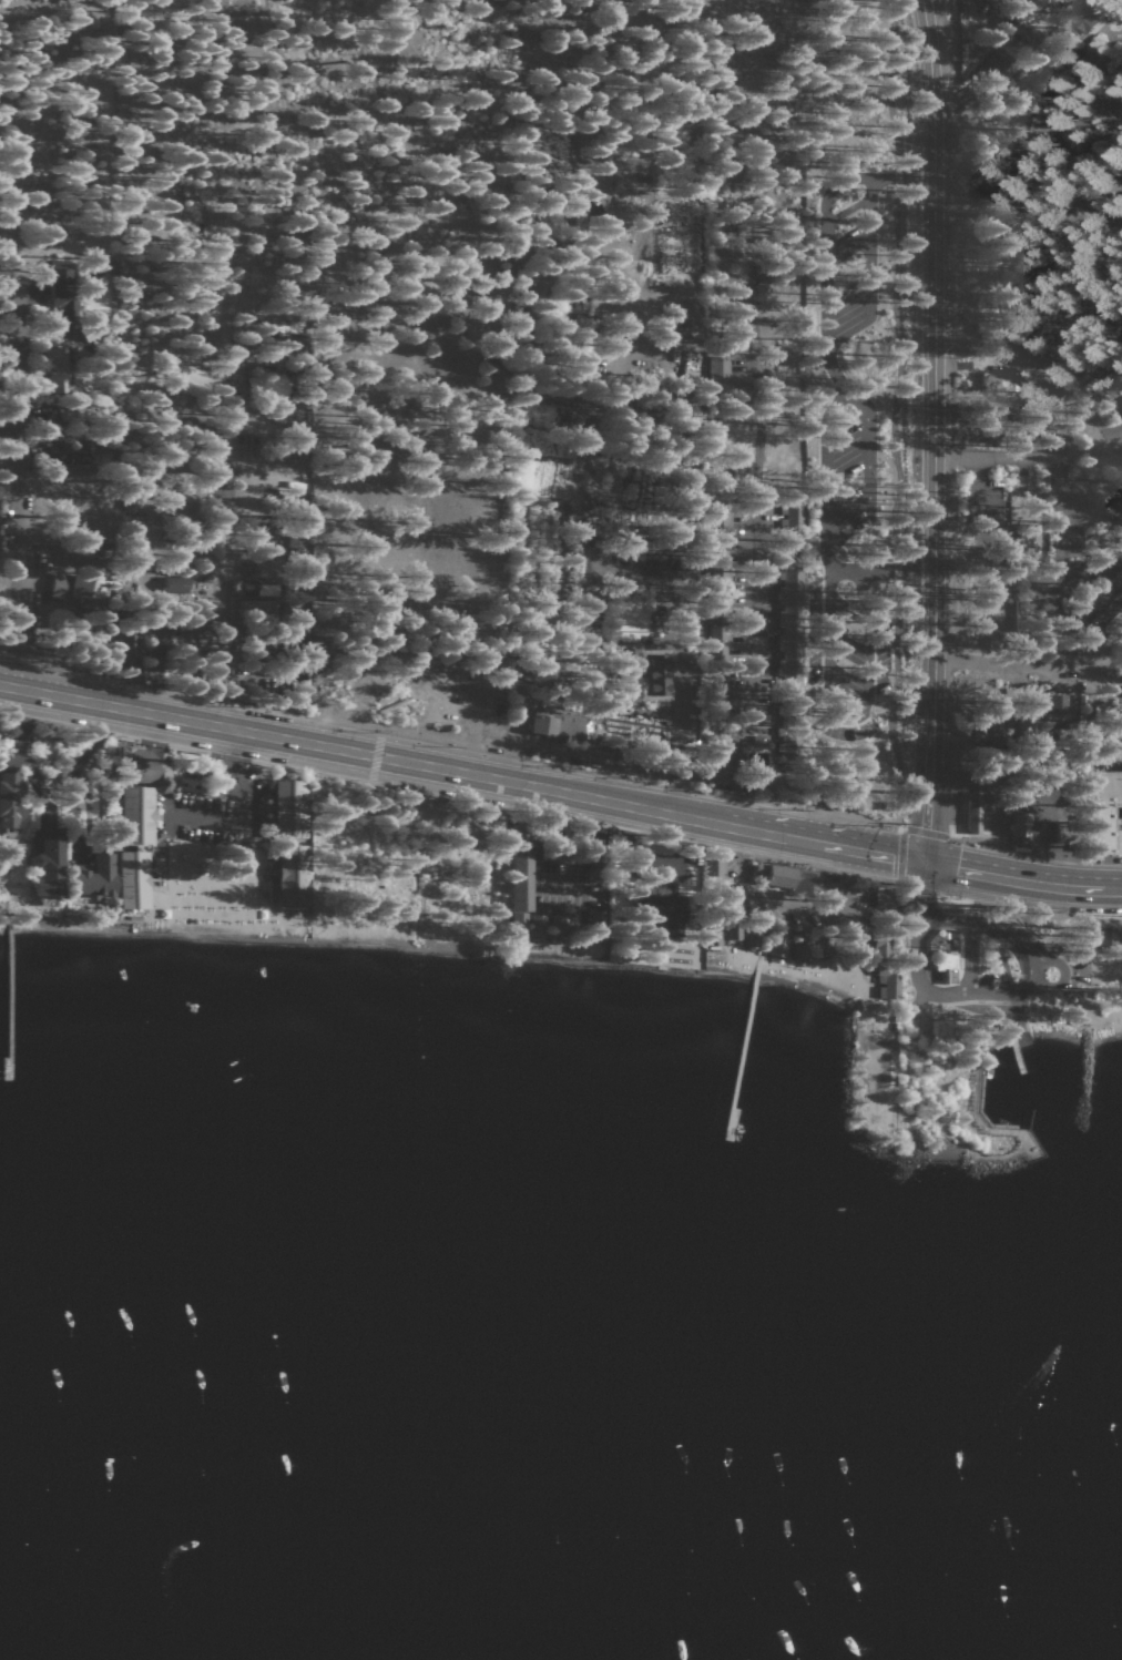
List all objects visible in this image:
building: (1096, 14)
building: (996, 69)
road: (104, 139)
road: (1032, 167)
building: (991, 176)
road: (870, 247)
building: (1, 294)
building: (69, 303)
road: (827, 334)
building: (62, 373)
building: (720, 373)
building: (998, 381)
building: (269, 388)
road: (886, 416)
building: (293, 422)
road: (928, 431)
road: (868, 448)
building: (81, 456)
road: (993, 457)
road: (10, 487)
building: (0, 500)
road: (982, 501)
road: (1079, 501)
road: (1054, 503)
building: (793, 515)
building: (722, 536)
building: (1027, 536)
building: (1112, 559)
building: (267, 570)
road: (881, 571)
building: (175, 584)
building: (81, 589)
building: (1099, 602)
building: (790, 623)
road: (1027, 662)
road: (752, 669)
building: (659, 672)
building: (630, 675)
building: (1057, 704)
road: (850, 715)
building: (559, 724)
road: (1106, 750)
road: (20, 757)
building: (145, 767)
road: (463, 773)
building: (1106, 786)
building: (11, 800)
road: (241, 805)
building: (290, 809)
building: (975, 813)
building: (136, 816)
road: (900, 829)
building: (1020, 831)
building: (1104, 832)
road: (1045, 848)
traffic signals: (927, 864)
building: (49, 865)
building: (294, 875)
building: (95, 877)
building: (785, 877)
building: (133, 880)
road: (1023, 882)
building: (521, 889)
building: (885, 899)
building: (663, 909)
building: (538, 926)
building: (734, 934)
building: (1103, 939)
building: (781, 941)
building: (803, 945)
building: (883, 948)
building: (947, 965)
building: (888, 982)
pier: (8, 996)
park: (992, 1005)
building: (942, 1030)
pier: (1016, 1050)
pier: (739, 1056)

